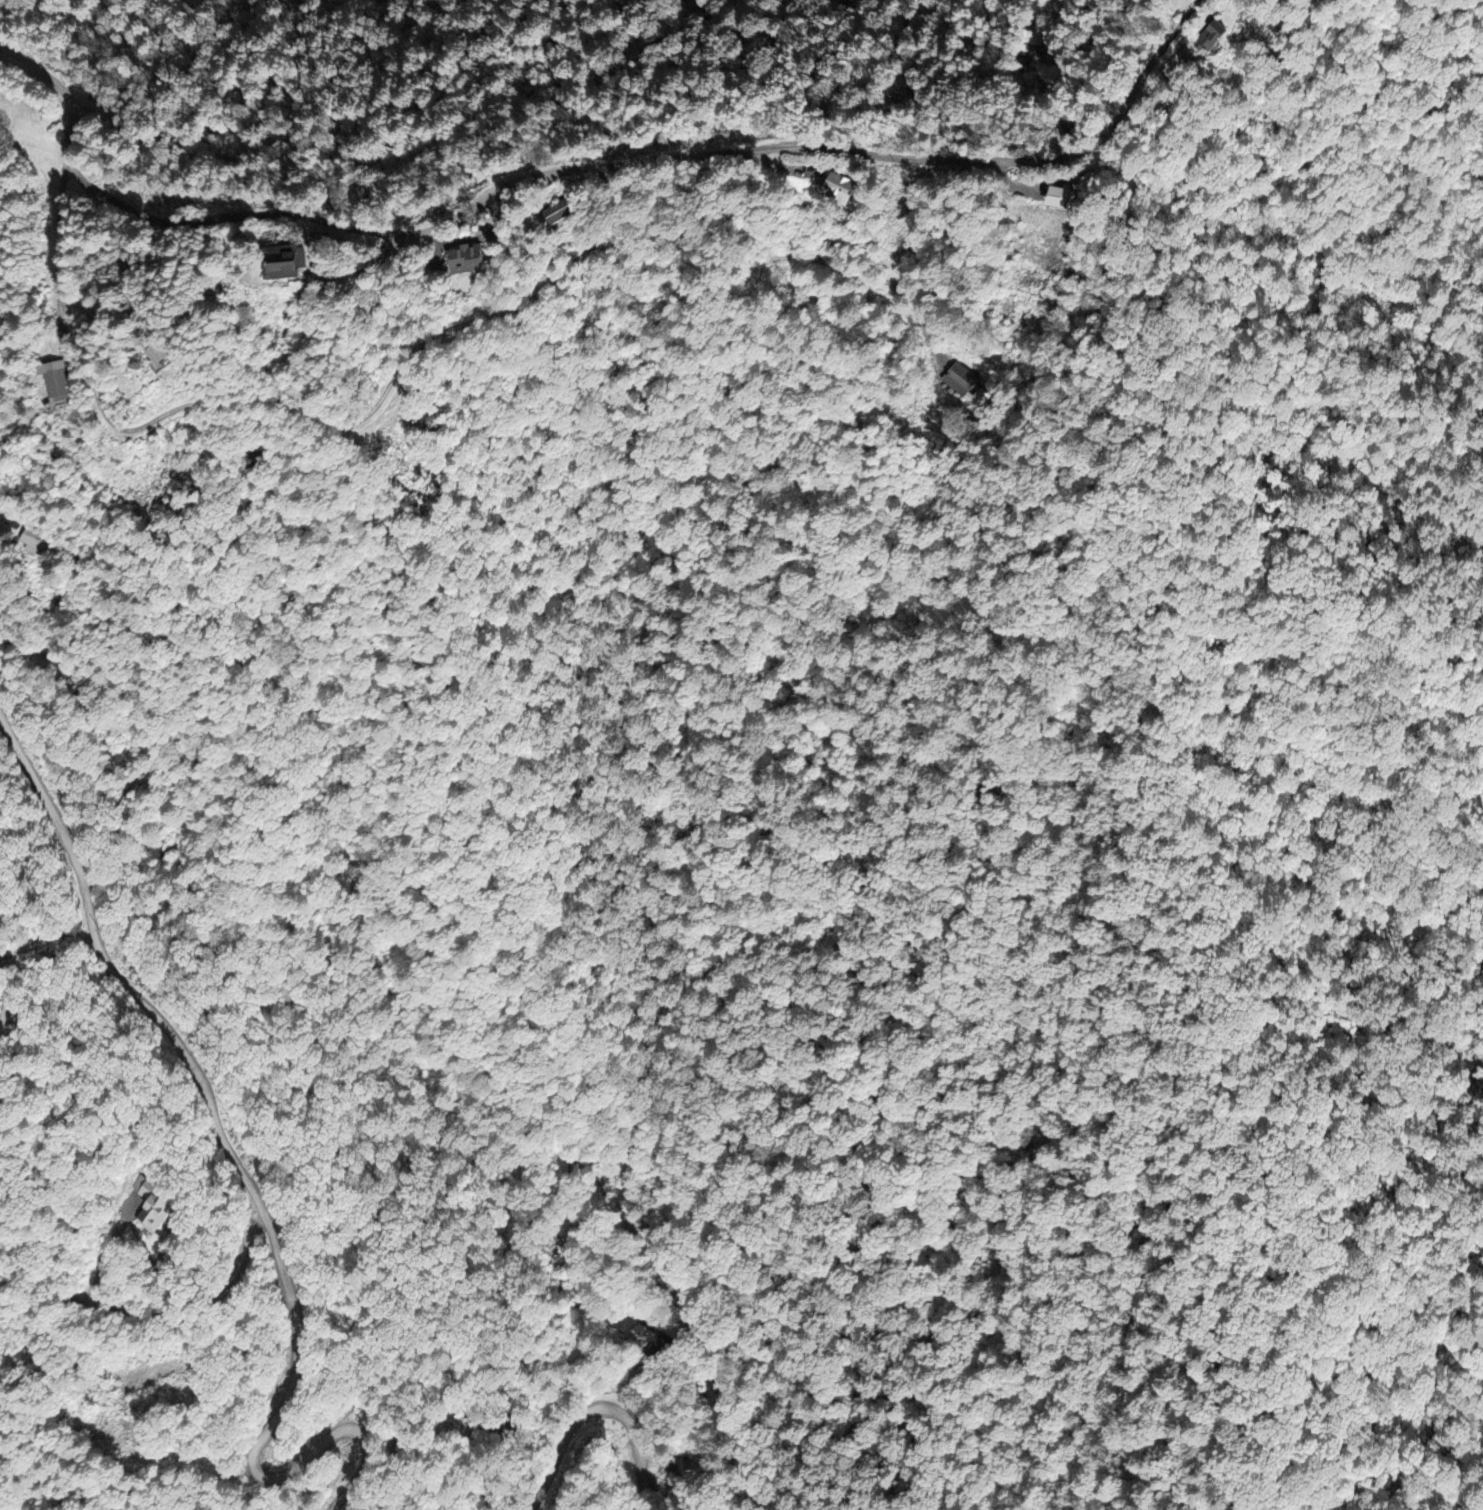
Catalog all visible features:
building: (1223, 37)
building: (1086, 121)
road: (651, 162)
building: (843, 189)
building: (1076, 199)
building: (566, 211)
building: (479, 261)
building: (297, 264)
road: (921, 313)
building: (166, 358)
building: (963, 380)
building: (58, 383)
building: (982, 399)
road: (380, 411)
building: (35, 540)
building: (89, 692)
building: (560, 1167)
road: (249, 1184)
building: (155, 1203)
road: (677, 1301)
building: (643, 1338)
road: (597, 1405)
road: (717, 1459)

